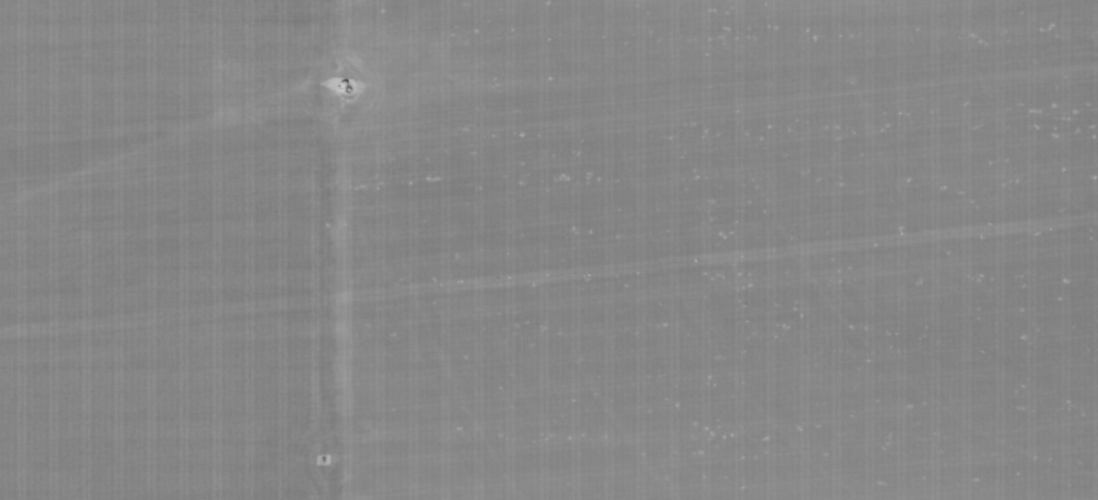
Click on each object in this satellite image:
road: (329, 249)

